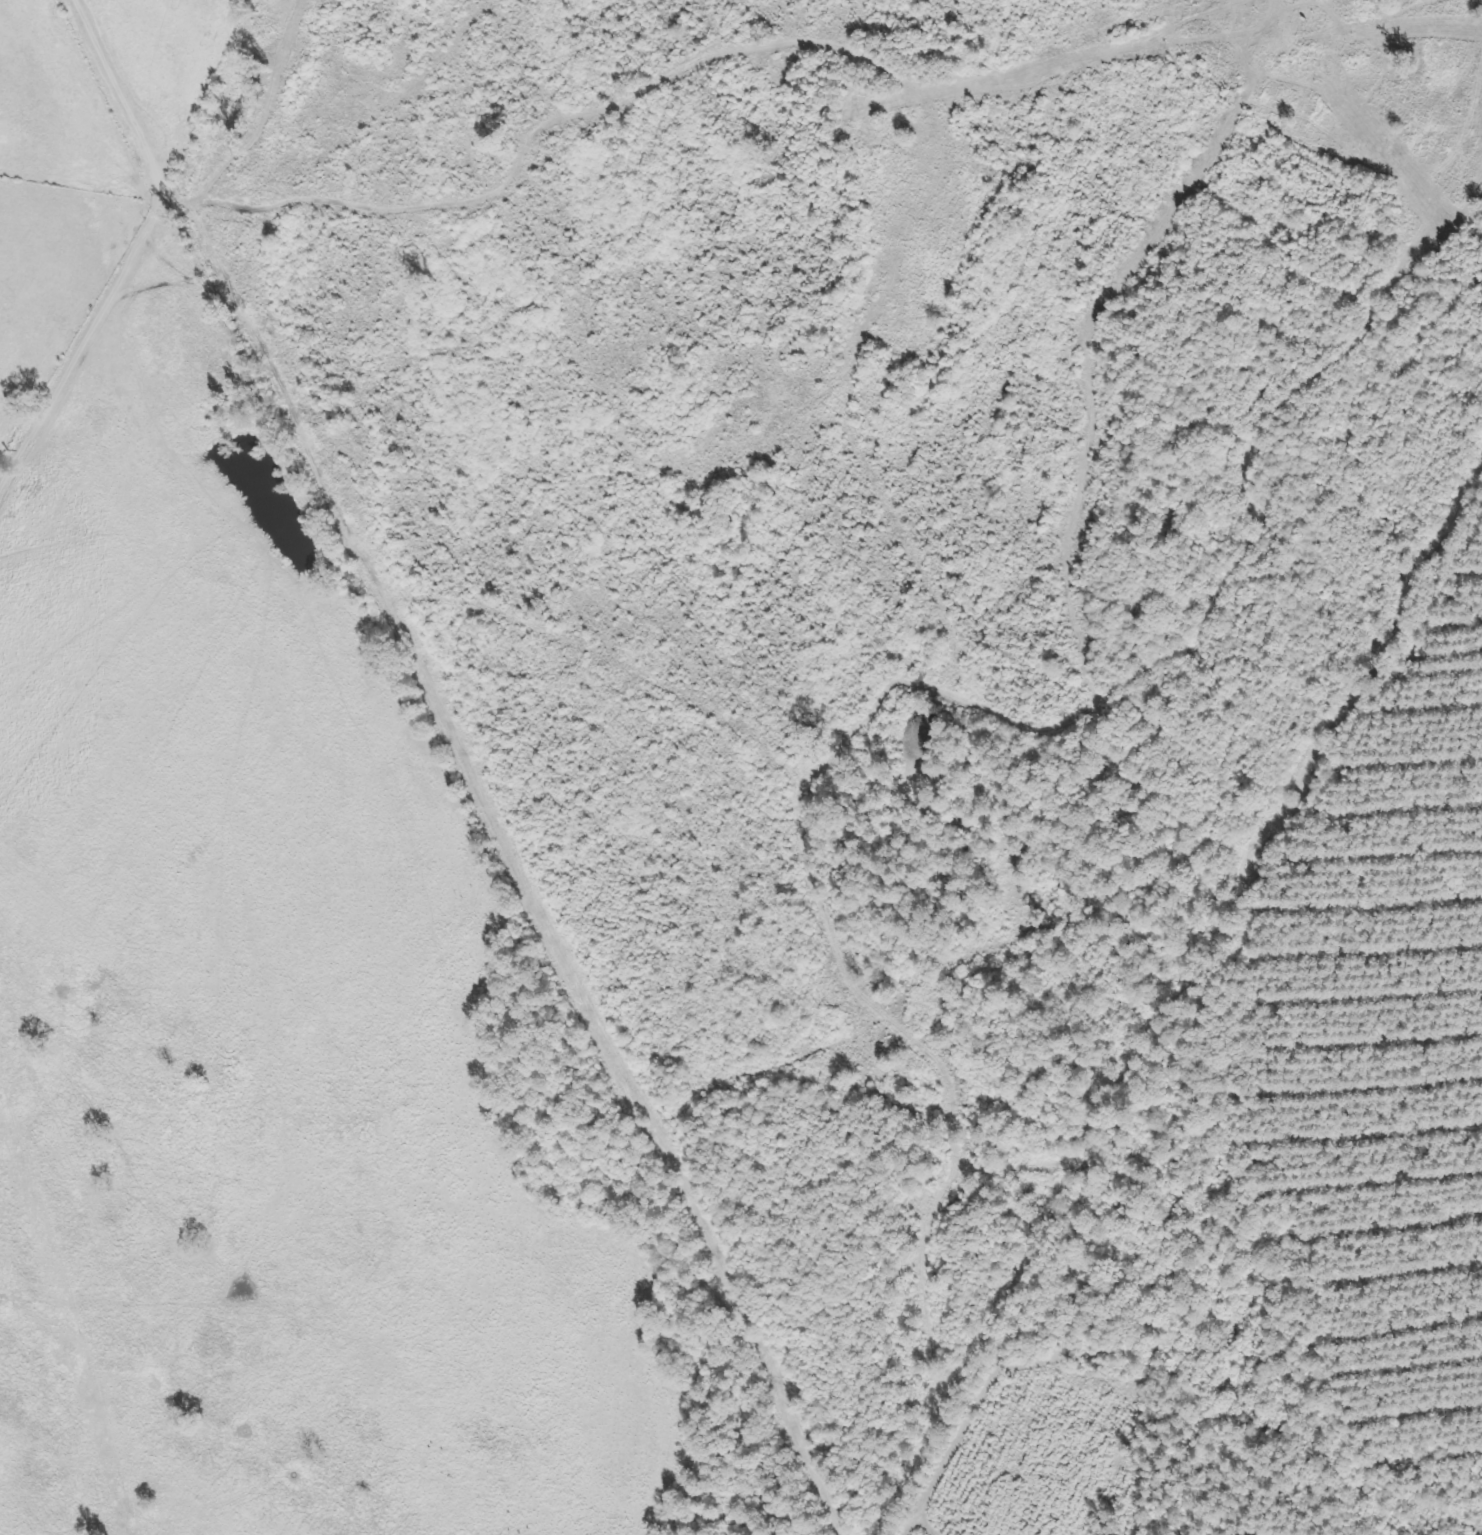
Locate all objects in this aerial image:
road: (123, 233)

